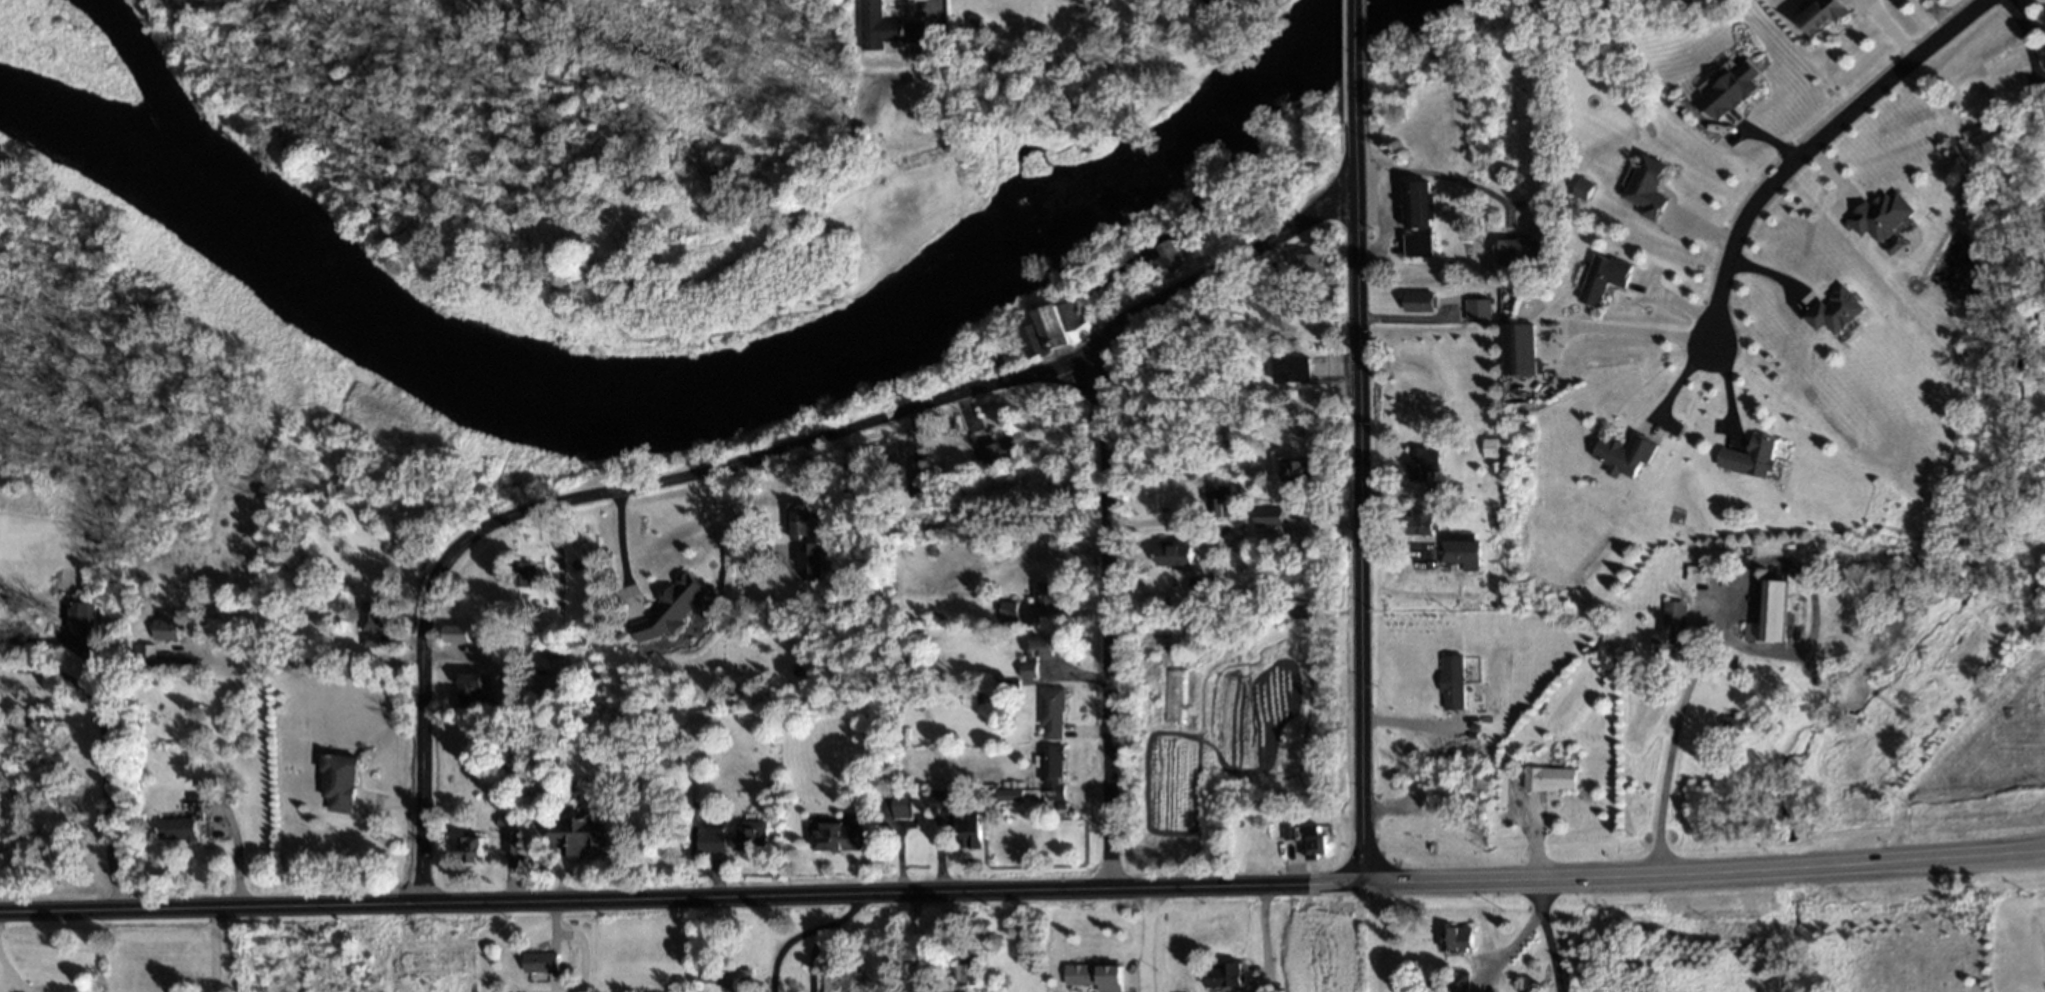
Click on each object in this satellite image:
building: (1213, 7)
building: (1823, 15)
building: (885, 27)
road: (1353, 60)
building: (1730, 90)
road: (1810, 146)
building: (1647, 186)
building: (1580, 188)
building: (1880, 214)
building: (1414, 219)
building: (1515, 252)
building: (1172, 255)
building: (1311, 265)
building: (1603, 277)
building: (1415, 302)
building: (1834, 310)
road: (1613, 328)
building: (1048, 335)
building: (1516, 349)
building: (1288, 369)
river: (702, 396)
road: (925, 397)
building: (1487, 447)
building: (993, 452)
building: (1623, 454)
building: (1749, 457)
building: (1420, 462)
building: (1298, 470)
building: (922, 484)
building: (1217, 501)
road: (1360, 501)
building: (1268, 516)
building: (1417, 521)
building: (800, 522)
road: (618, 547)
building: (1456, 549)
building: (1173, 552)
building: (809, 559)
building: (523, 574)
building: (951, 585)
building: (1199, 588)
building: (1043, 595)
building: (668, 608)
building: (1770, 614)
building: (81, 617)
road: (1103, 618)
building: (369, 623)
building: (167, 626)
building: (1670, 630)
building: (455, 634)
road: (68, 642)
building: (141, 651)
building: (1036, 653)
road: (310, 658)
road: (51, 673)
building: (1450, 681)
building: (549, 685)
building: (469, 690)
road: (420, 710)
building: (1049, 712)
building: (1730, 722)
road: (1673, 742)
building: (1051, 773)
building: (1546, 778)
building: (337, 781)
building: (1006, 794)
road: (99, 802)
building: (898, 804)
building: (941, 812)
building: (178, 825)
building: (969, 831)
building: (580, 834)
building: (835, 836)
building: (746, 838)
building: (1312, 839)
building: (710, 841)
building: (510, 843)
building: (469, 849)
road: (1706, 873)
road: (683, 886)
road: (1549, 934)
road: (1142, 937)
road: (1265, 937)
building: (1456, 938)
road: (208, 944)
building: (539, 962)
building: (707, 973)
building: (963, 973)
building: (1079, 974)
building: (1224, 975)
building: (734, 979)
building: (1109, 979)
building: (1457, 982)
building: (844, 983)

